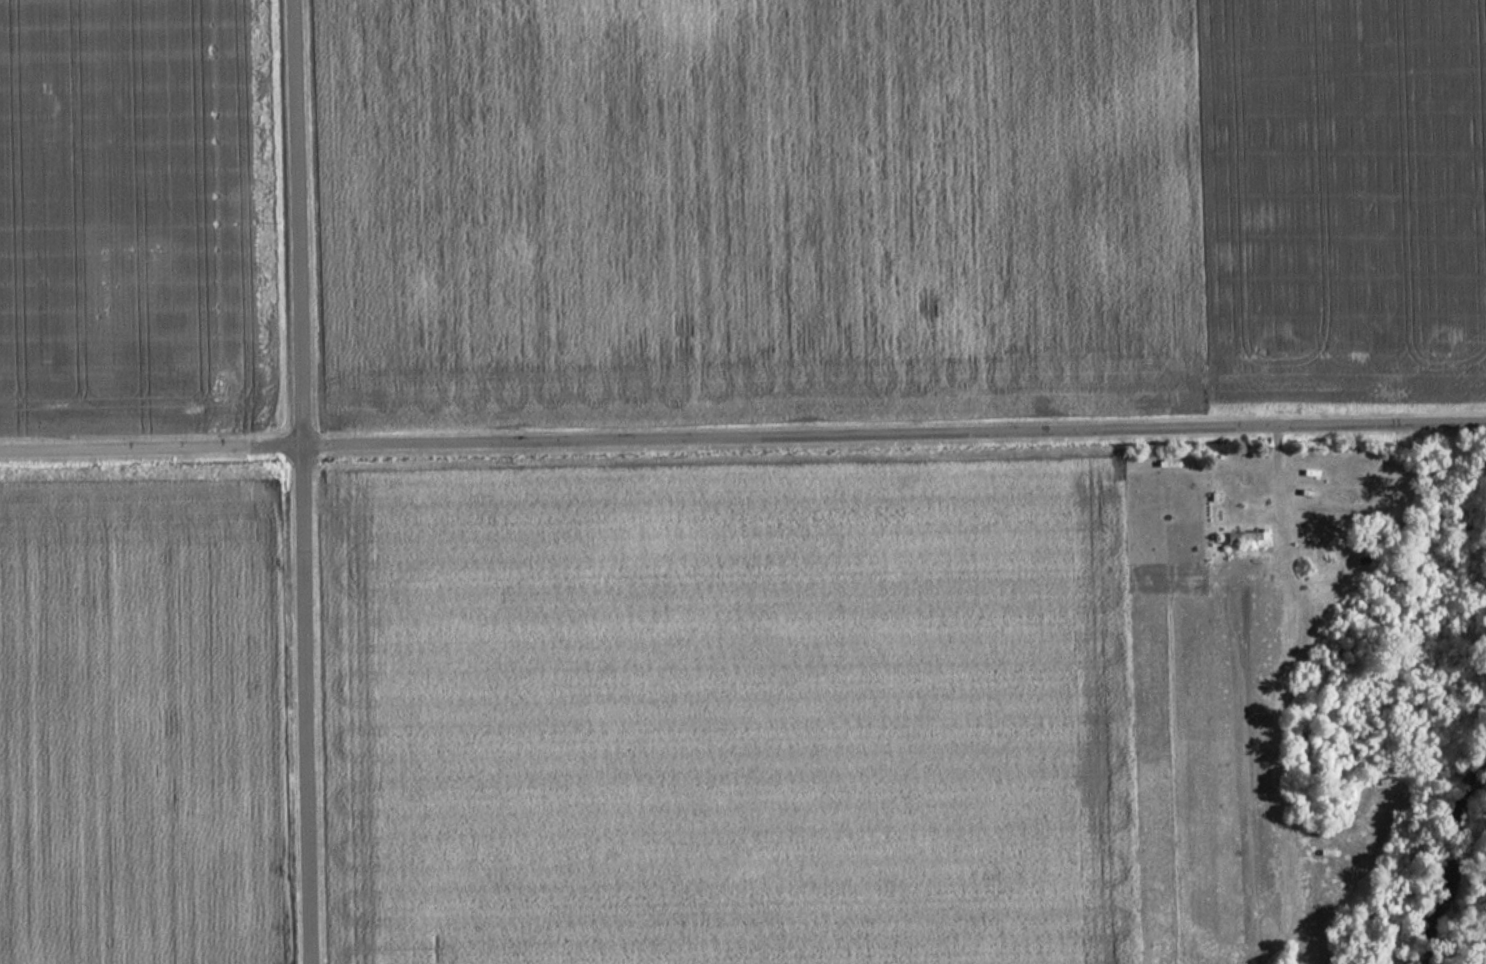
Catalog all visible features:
crop: (899, 202)
crop: (123, 212)
road: (295, 222)
road: (894, 435)
road: (151, 447)
building: (1242, 536)
road: (306, 704)
crop: (730, 716)
crop: (137, 724)

